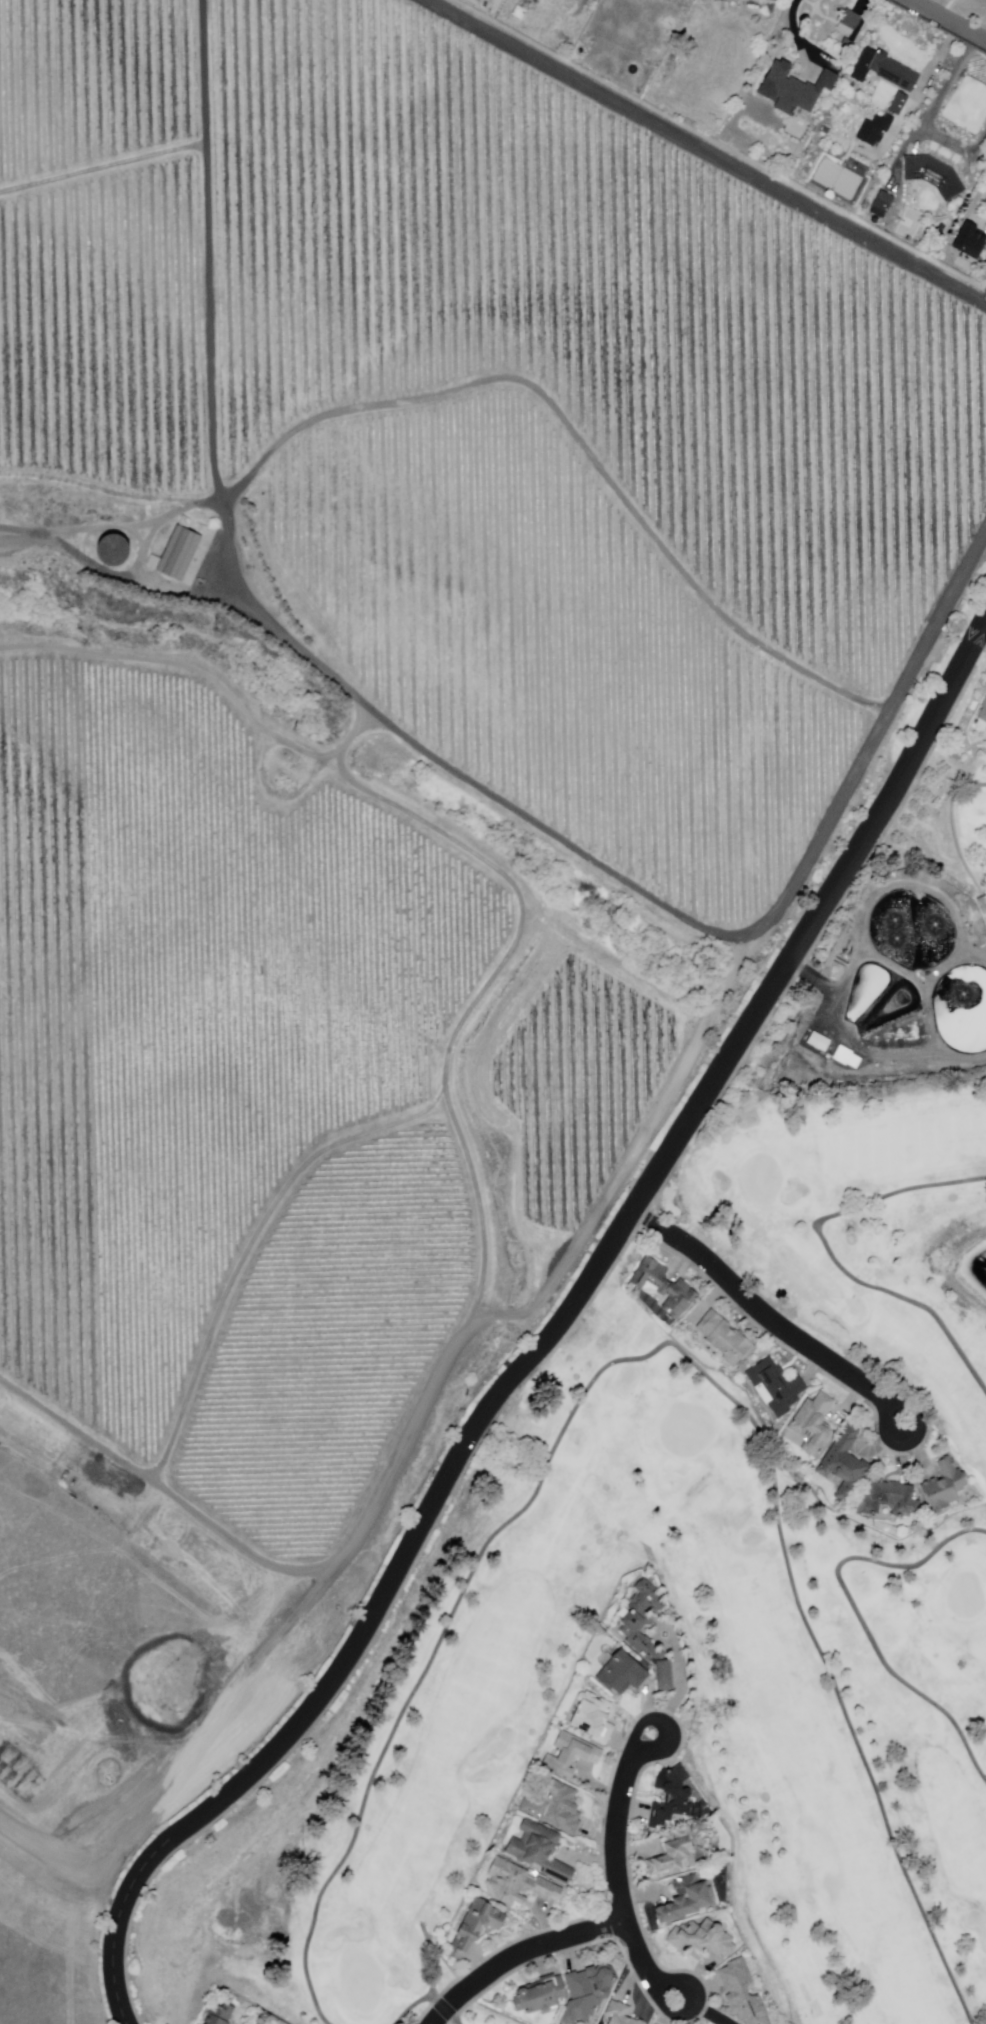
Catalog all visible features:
building: (519, 13)
road: (947, 20)
building: (849, 22)
building: (847, 43)
building: (882, 69)
building: (793, 88)
building: (897, 104)
storage tank: (826, 130)
building: (873, 130)
road: (705, 151)
road: (105, 169)
building: (933, 179)
building: (882, 205)
building: (866, 206)
building: (970, 238)
road: (211, 251)
building: (111, 550)
storage tank: (119, 550)
building: (183, 554)
road: (129, 573)
road: (239, 574)
road: (942, 618)
road: (187, 669)
building: (983, 713)
road: (955, 836)
wastewater plant: (913, 930)
wastewater plant: (867, 988)
wastewater plant: (896, 1006)
wastewater plant: (963, 1010)
wastewater plant: (905, 1036)
building: (818, 1042)
road: (440, 1097)
park: (762, 1179)
road: (832, 1257)
building: (664, 1287)
road: (768, 1320)
road: (547, 1335)
building: (725, 1339)
road: (647, 1357)
road: (431, 1388)
building: (780, 1388)
building: (813, 1425)
park: (688, 1430)
building: (845, 1464)
building: (944, 1487)
building: (890, 1499)
park: (717, 1567)
park: (966, 1596)
road: (858, 1614)
building: (634, 1636)
building: (622, 1675)
building: (593, 1719)
road: (657, 1724)
building: (570, 1757)
building: (670, 1800)
building: (554, 1808)
building: (541, 1851)
building: (674, 1855)
road: (615, 1868)
building: (519, 1885)
building: (685, 1901)
building: (473, 1929)
building: (702, 1939)
road: (517, 1953)
park: (361, 1981)
building: (587, 1993)
building: (741, 1995)
building: (541, 1997)
road: (687, 2001)
road: (413, 2007)
road: (443, 2009)
building: (619, 2014)
building: (218, 2015)
building: (256, 2022)
road: (456, 2022)

